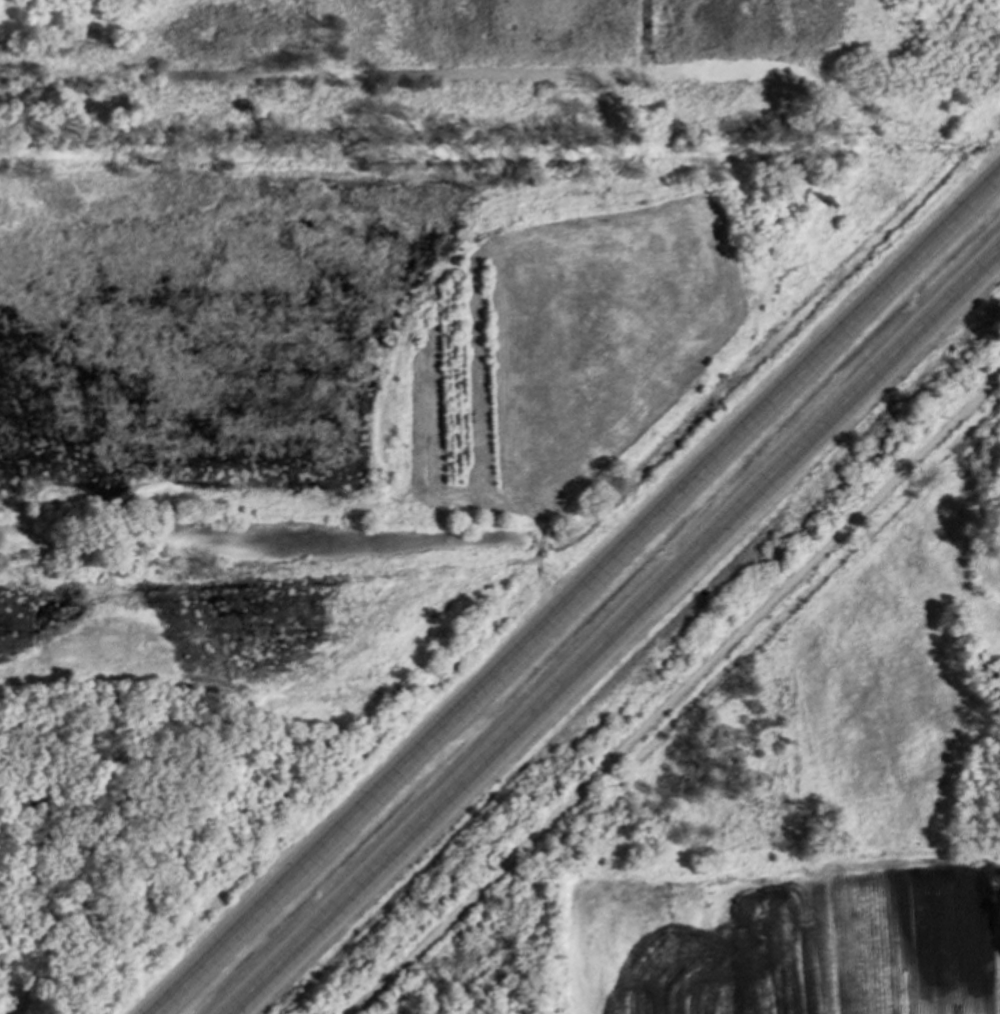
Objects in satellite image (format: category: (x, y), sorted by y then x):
road: (589, 601)
road: (627, 638)
road: (677, 693)

